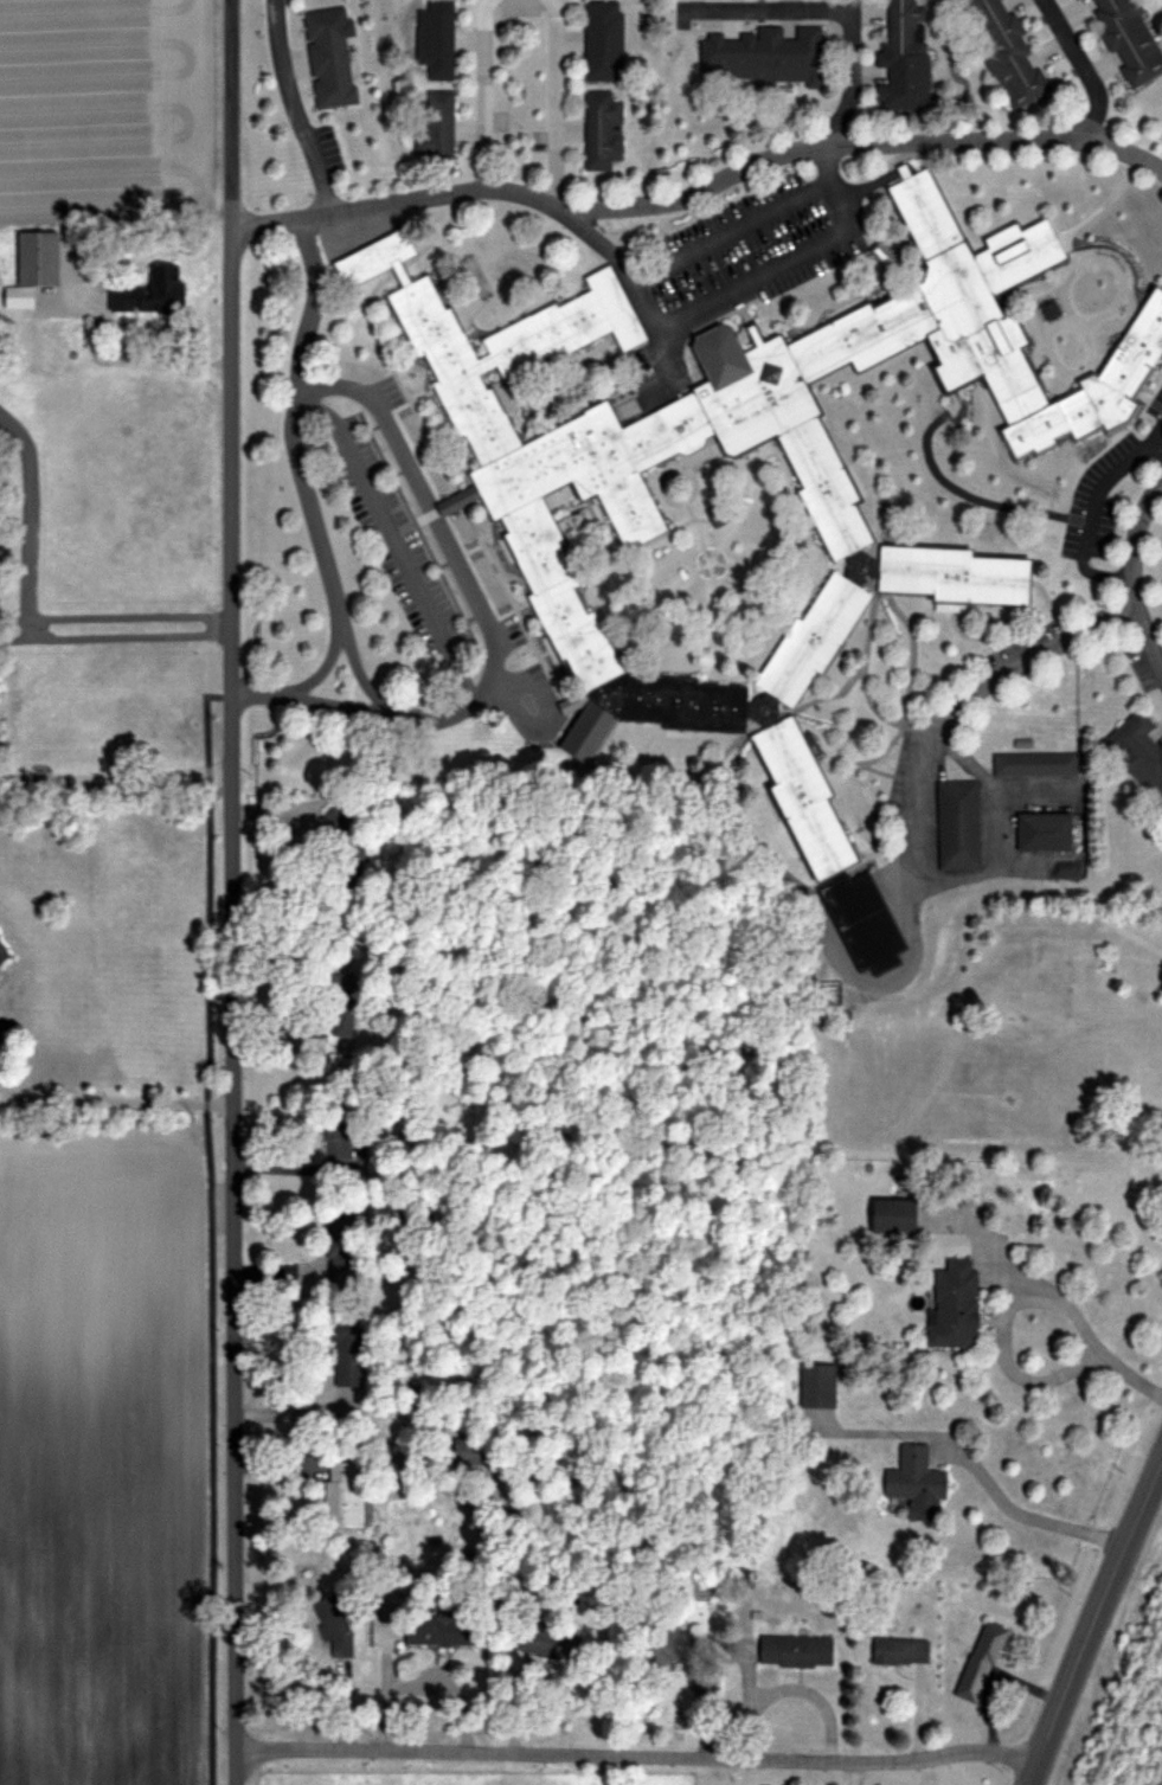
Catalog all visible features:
road: (768, 8)
building: (1131, 37)
building: (442, 39)
building: (601, 39)
building: (1007, 50)
building: (768, 52)
building: (907, 54)
building: (332, 57)
road: (1085, 66)
road: (850, 77)
road: (484, 94)
road: (556, 102)
road: (297, 107)
building: (604, 129)
building: (438, 130)
road: (694, 191)
road: (785, 259)
building: (36, 267)
building: (153, 290)
road: (637, 290)
road: (126, 359)
road: (300, 467)
road: (25, 513)
road: (393, 538)
road: (1136, 540)
road: (477, 595)
road: (114, 615)
road: (114, 636)
road: (1147, 636)
road: (301, 691)
road: (949, 711)
building: (1139, 749)
building: (1035, 763)
road: (115, 779)
building: (961, 823)
building: (1046, 830)
building: (353, 858)
road: (231, 892)
building: (866, 922)
building: (4, 952)
building: (346, 1015)
road: (111, 1100)
building: (339, 1137)
building: (898, 1215)
road: (983, 1244)
building: (957, 1304)
road: (1002, 1329)
building: (349, 1353)
road: (1130, 1376)
building: (821, 1385)
building: (468, 1452)
road: (967, 1468)
building: (919, 1483)
building: (347, 1495)
road: (1089, 1607)
building: (336, 1625)
building: (443, 1630)
building: (540, 1643)
building: (798, 1650)
building: (903, 1651)
building: (983, 1662)
road: (791, 1694)
road: (636, 1755)
road: (854, 1774)
road: (1029, 1777)

